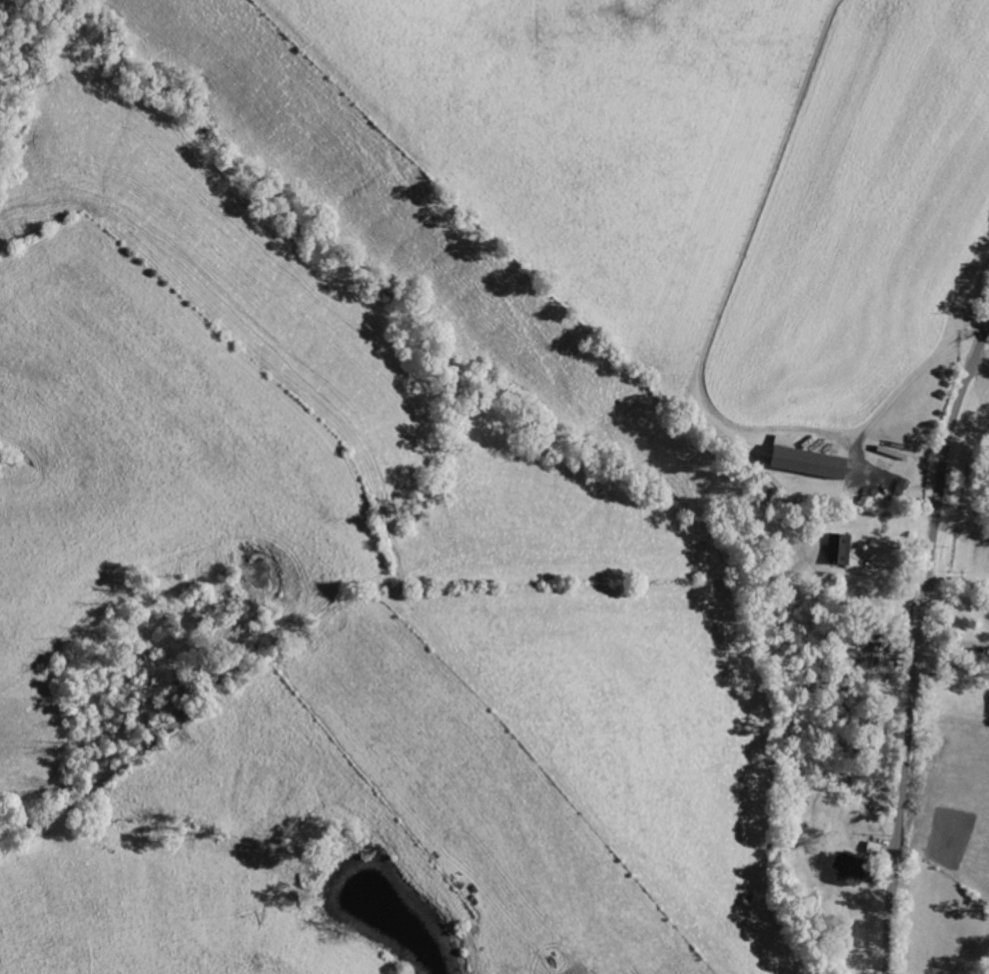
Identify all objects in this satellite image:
road: (981, 366)
road: (918, 380)
building: (803, 462)
building: (837, 550)
road: (958, 580)
road: (919, 647)
building: (845, 869)

